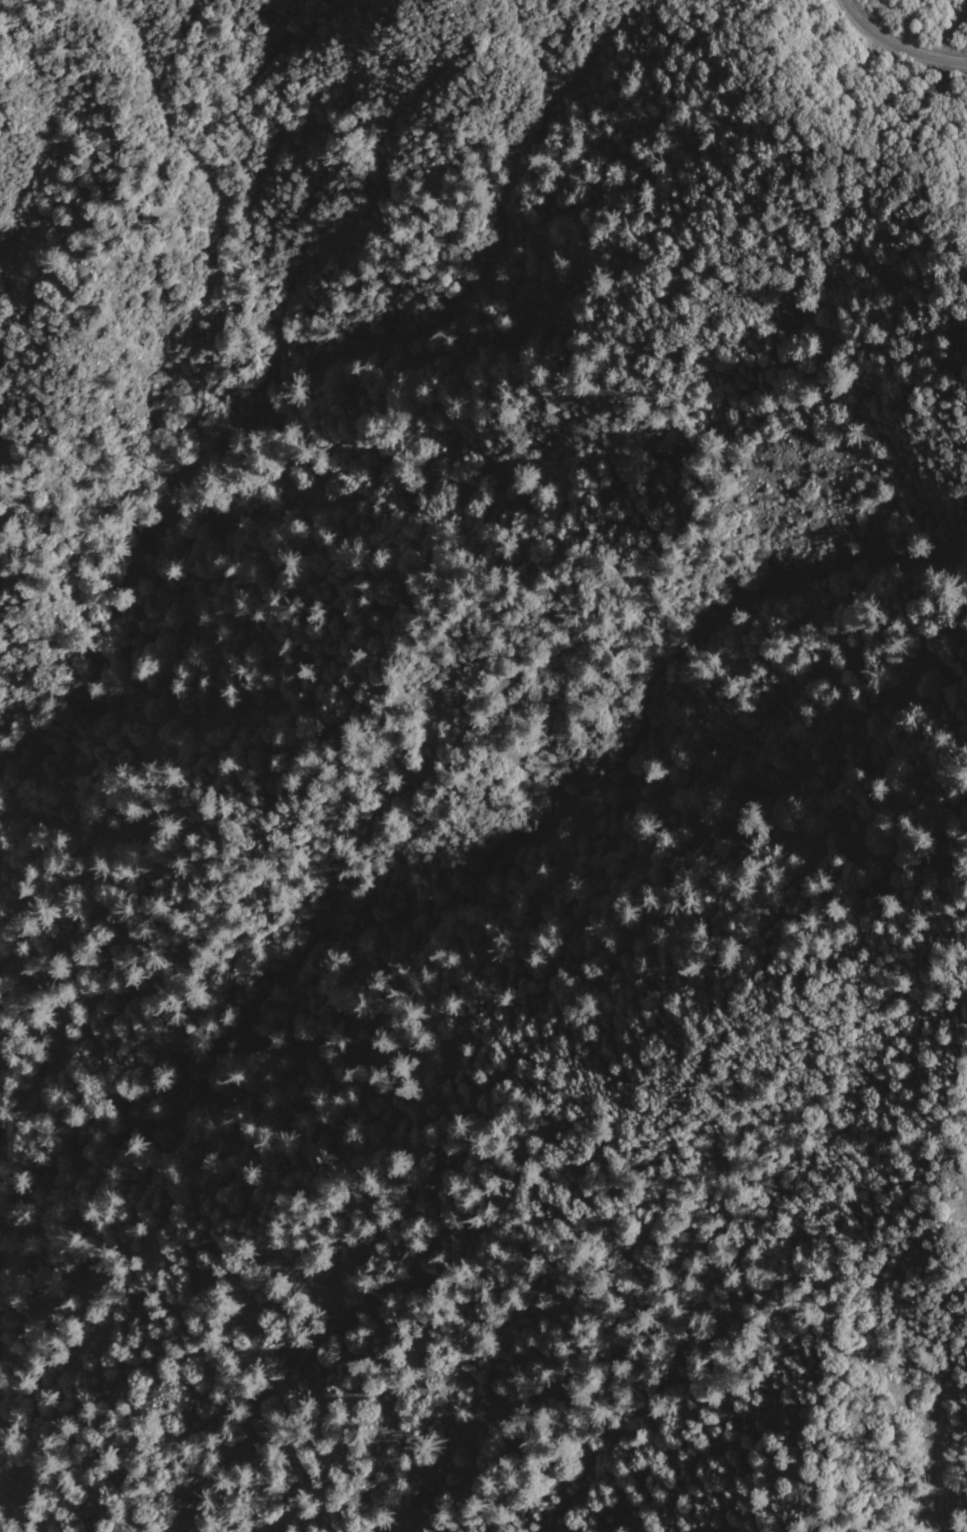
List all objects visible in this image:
road: (898, 45)
road: (902, 126)

